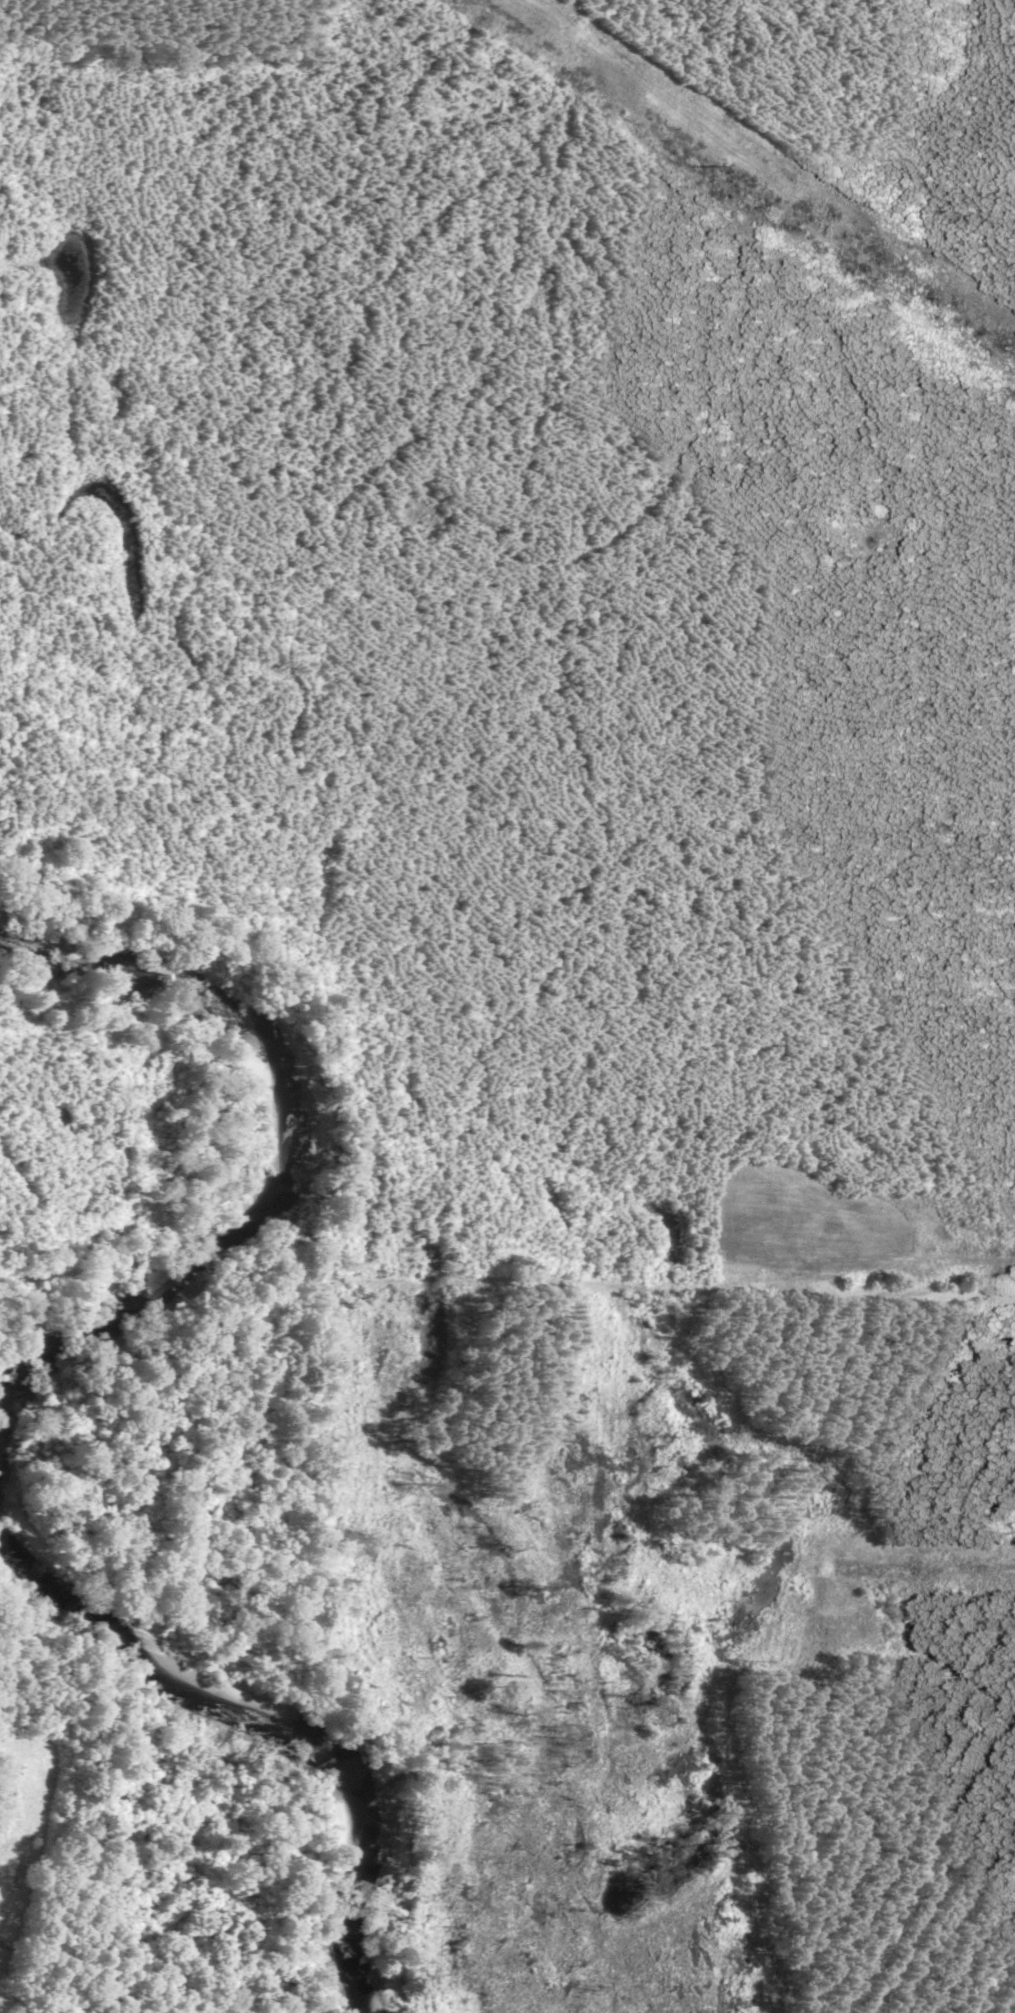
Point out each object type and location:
river: (289, 1156)
river: (267, 1704)

